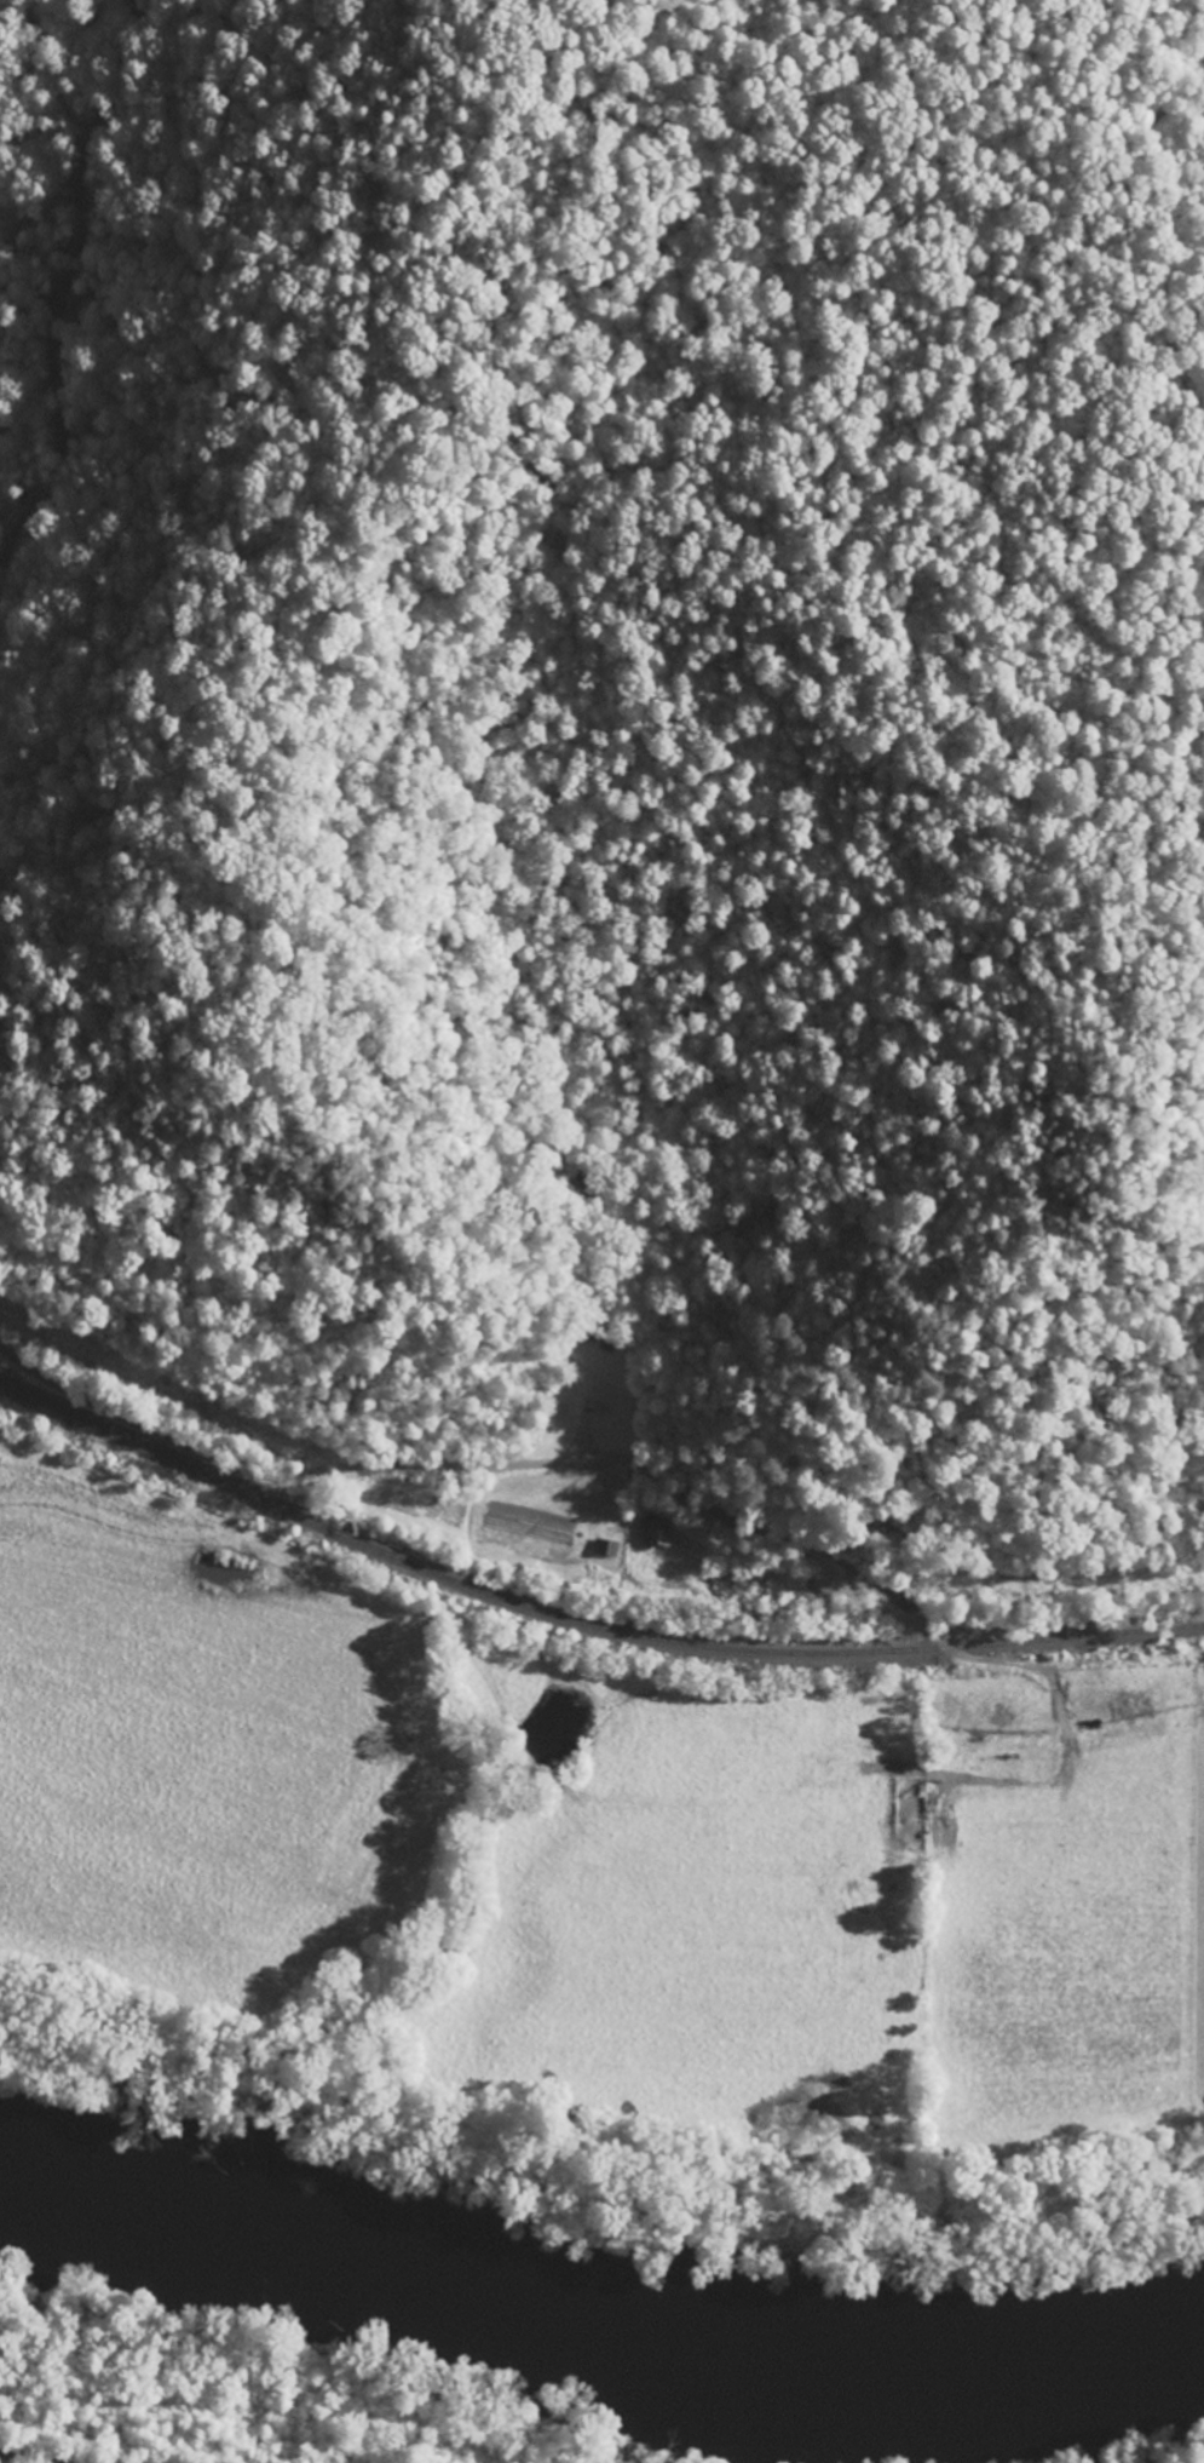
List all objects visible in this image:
road: (609, 1459)
railway: (578, 1623)
river: (594, 2330)
road: (23, 2459)

